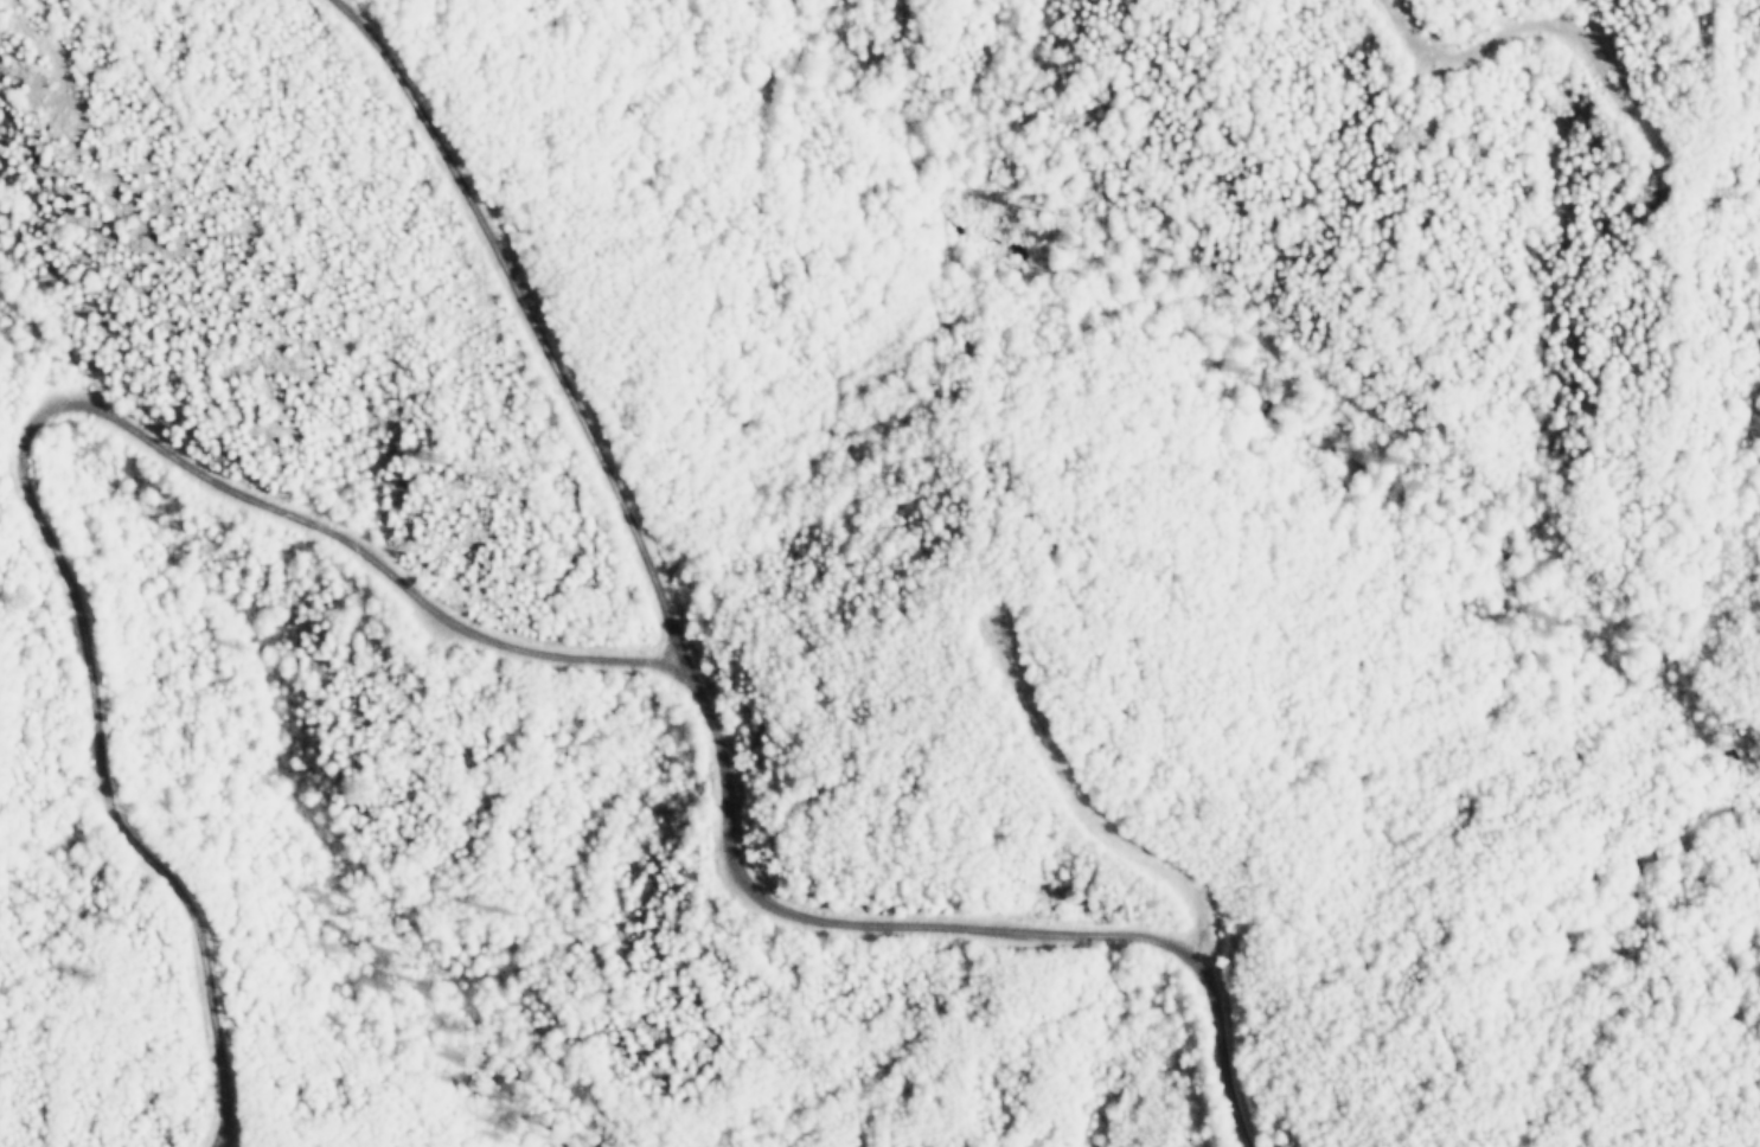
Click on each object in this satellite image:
road: (530, 334)
road: (14, 443)
road: (962, 933)

